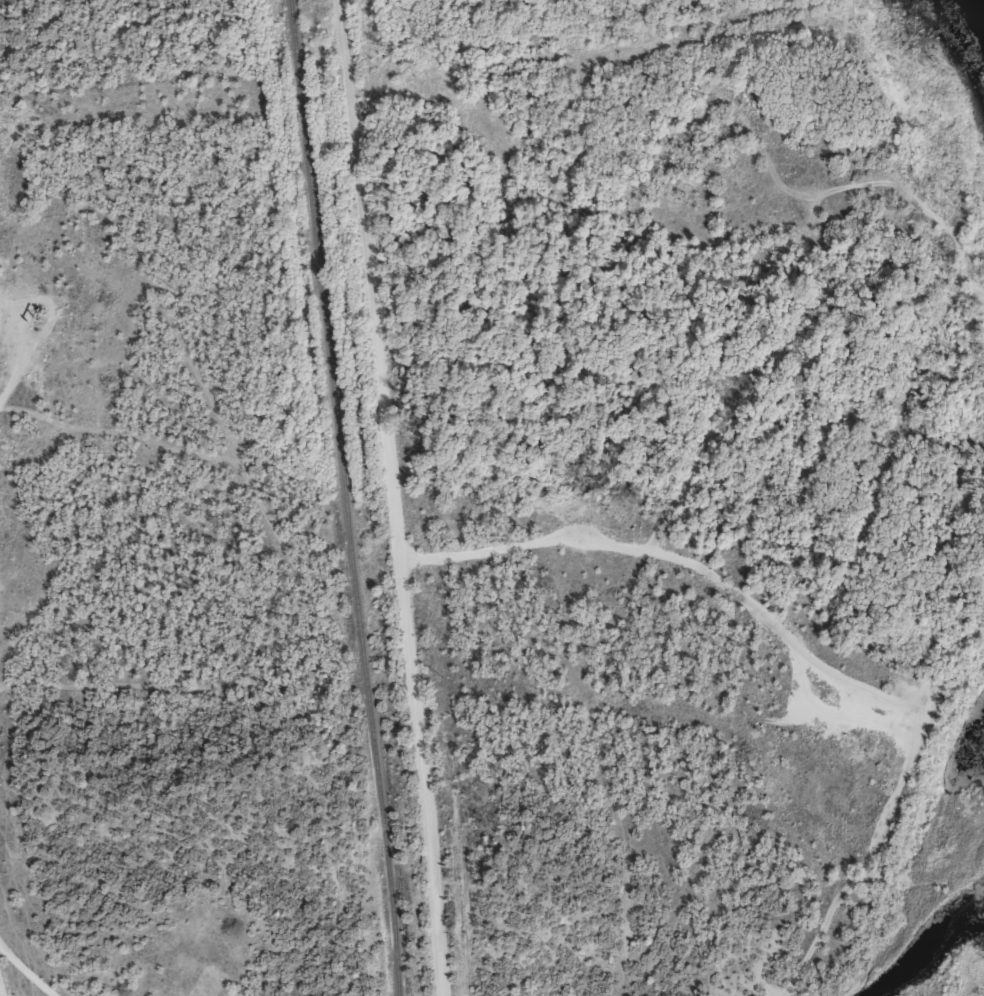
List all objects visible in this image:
road: (730, 369)
railway: (341, 497)
road: (378, 499)
road: (881, 698)
road: (27, 971)
road: (2, 984)

